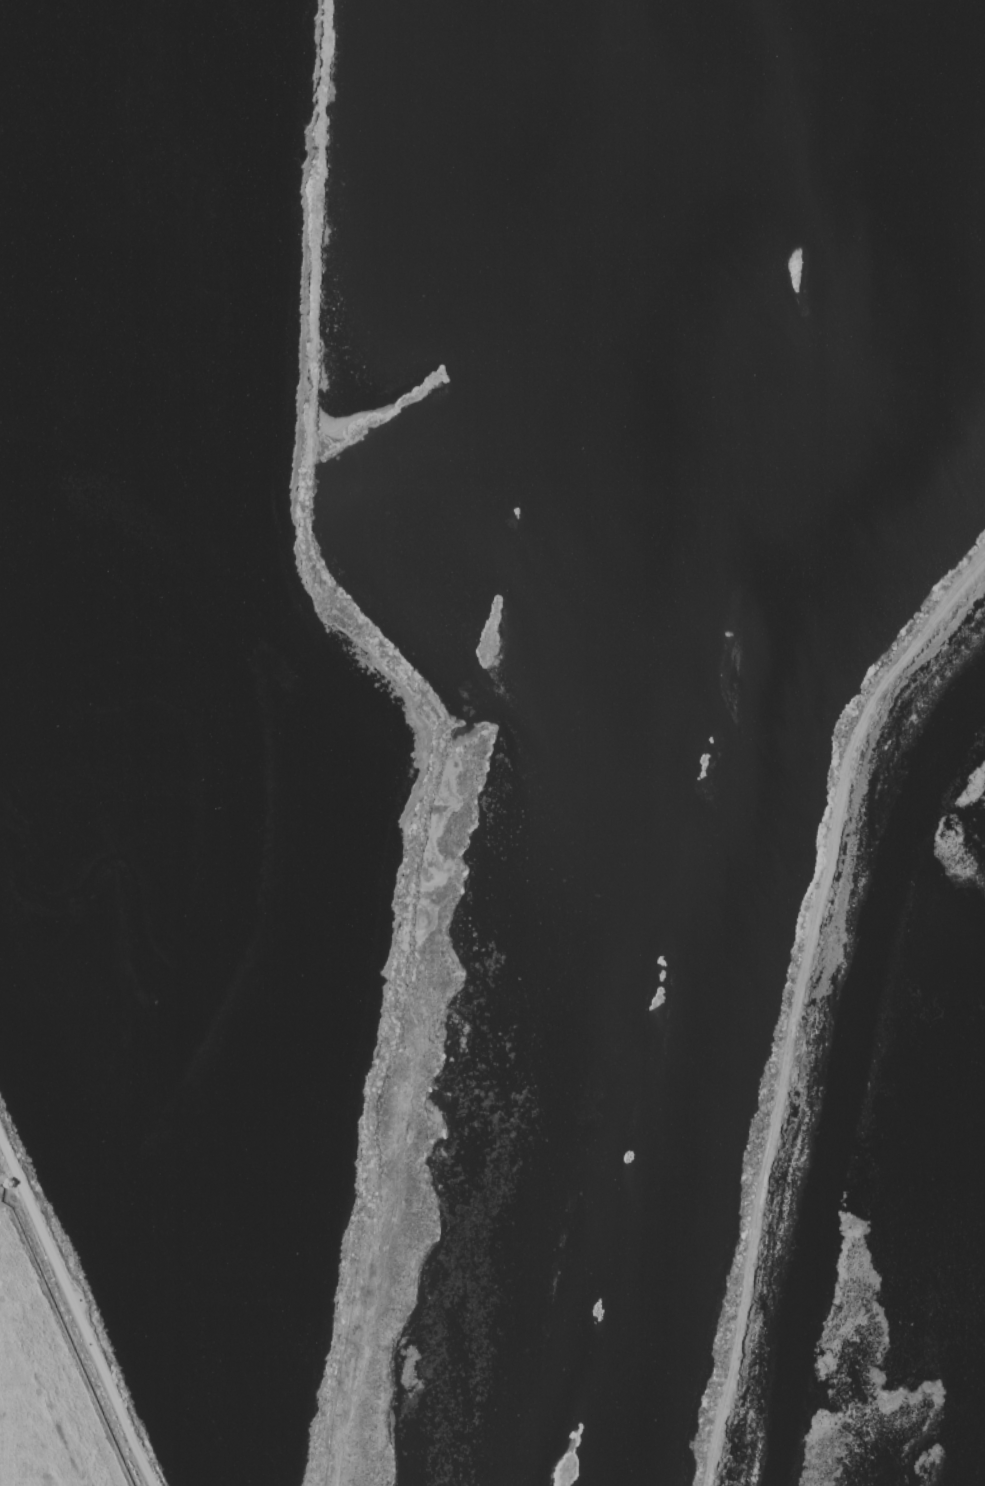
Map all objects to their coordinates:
road: (441, 727)
road: (75, 1312)
road: (73, 1336)

